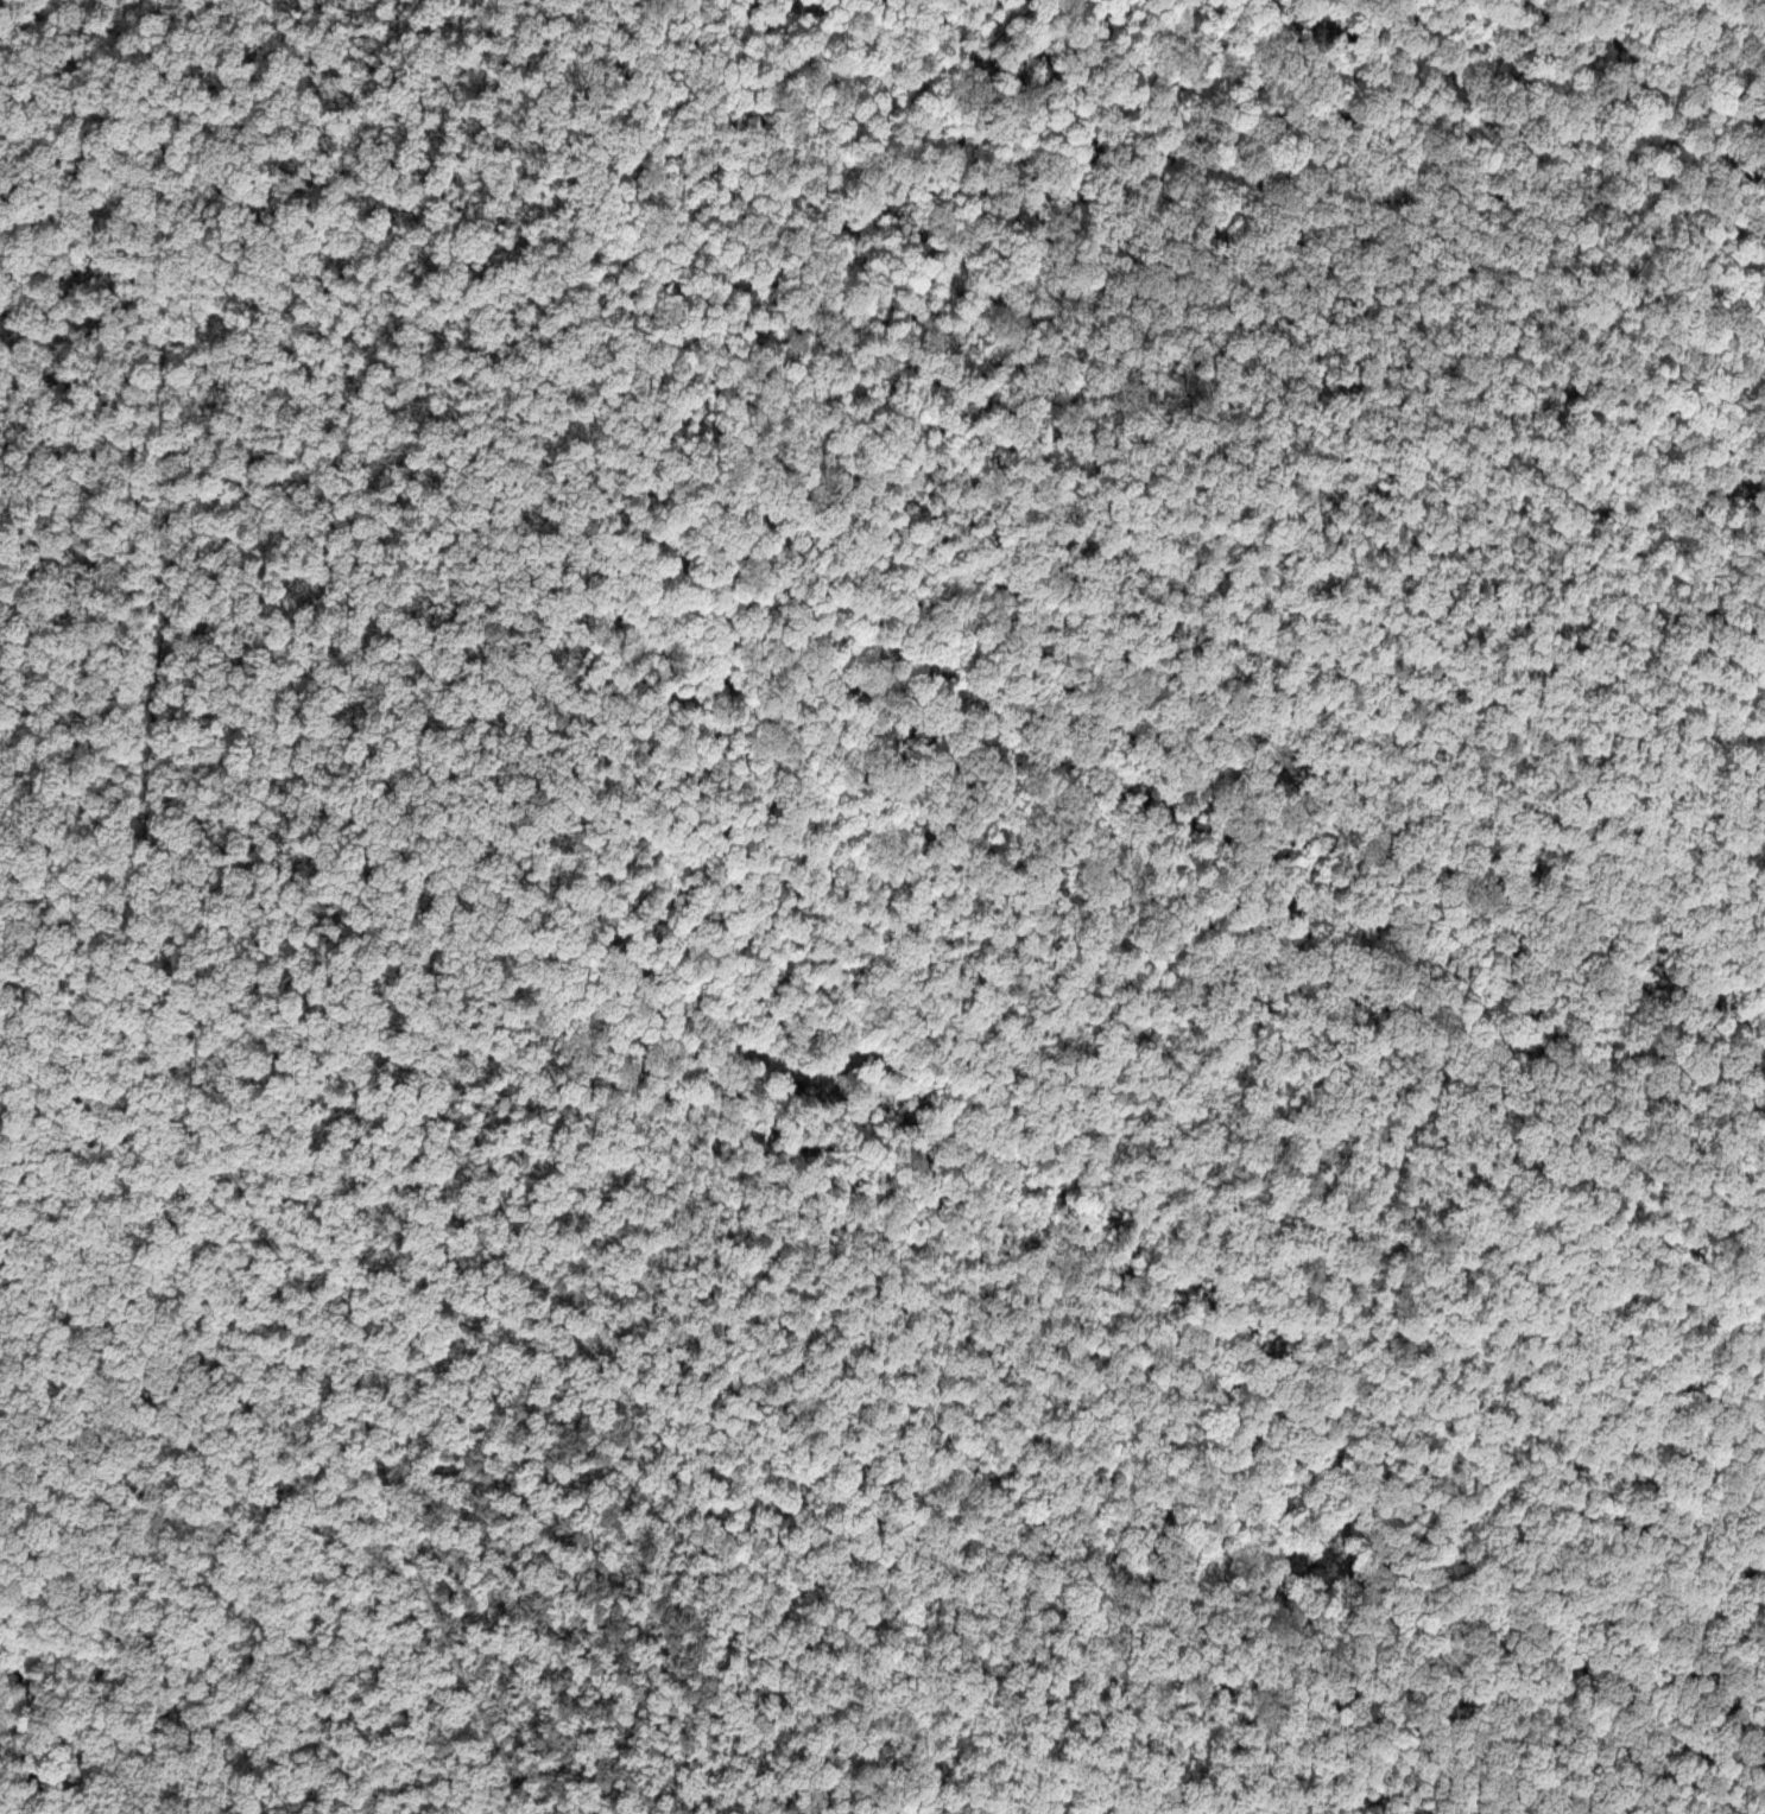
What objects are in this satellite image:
road: (1747, 85)
road: (138, 952)
road: (95, 1774)
road: (1732, 1786)

